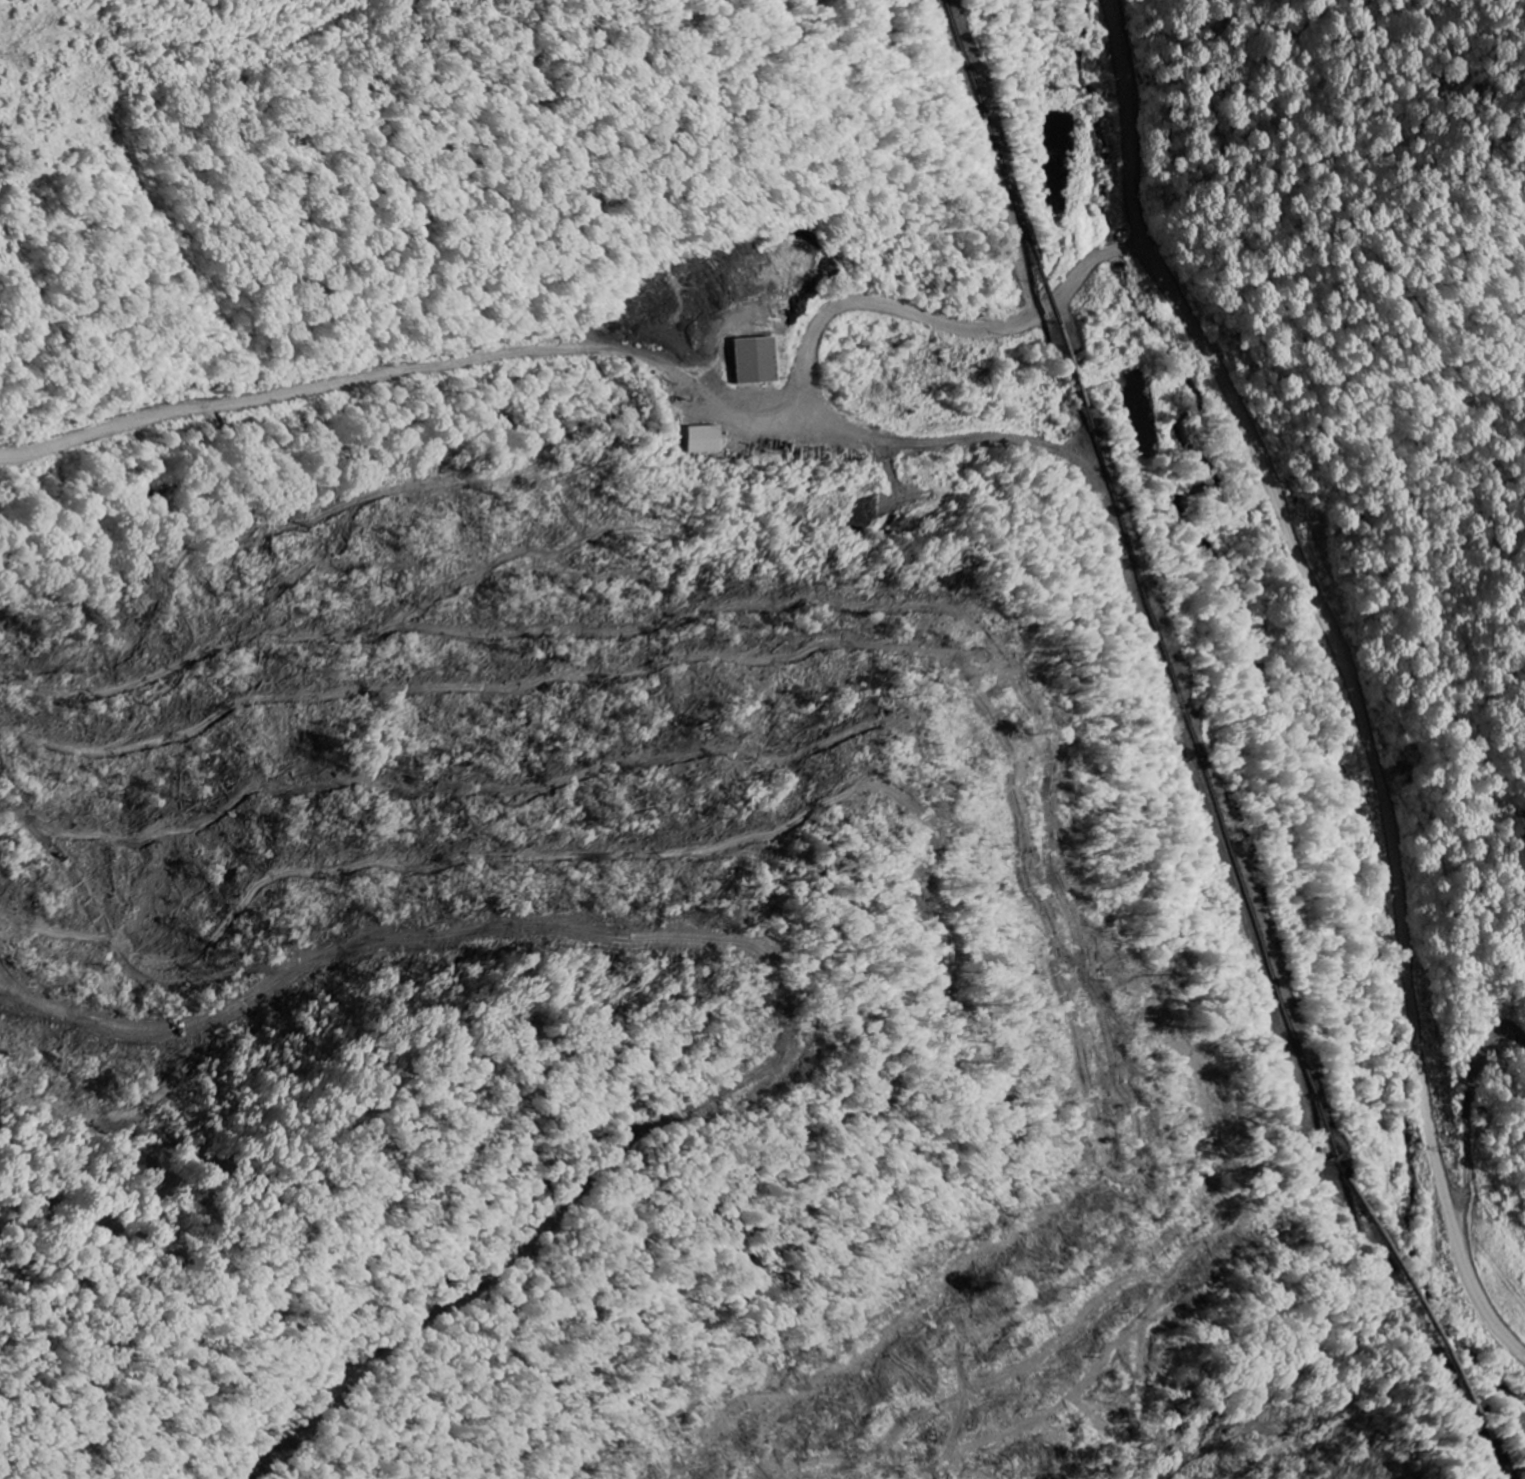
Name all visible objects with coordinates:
road: (431, 213)
building: (750, 361)
building: (702, 439)
road: (1251, 625)

